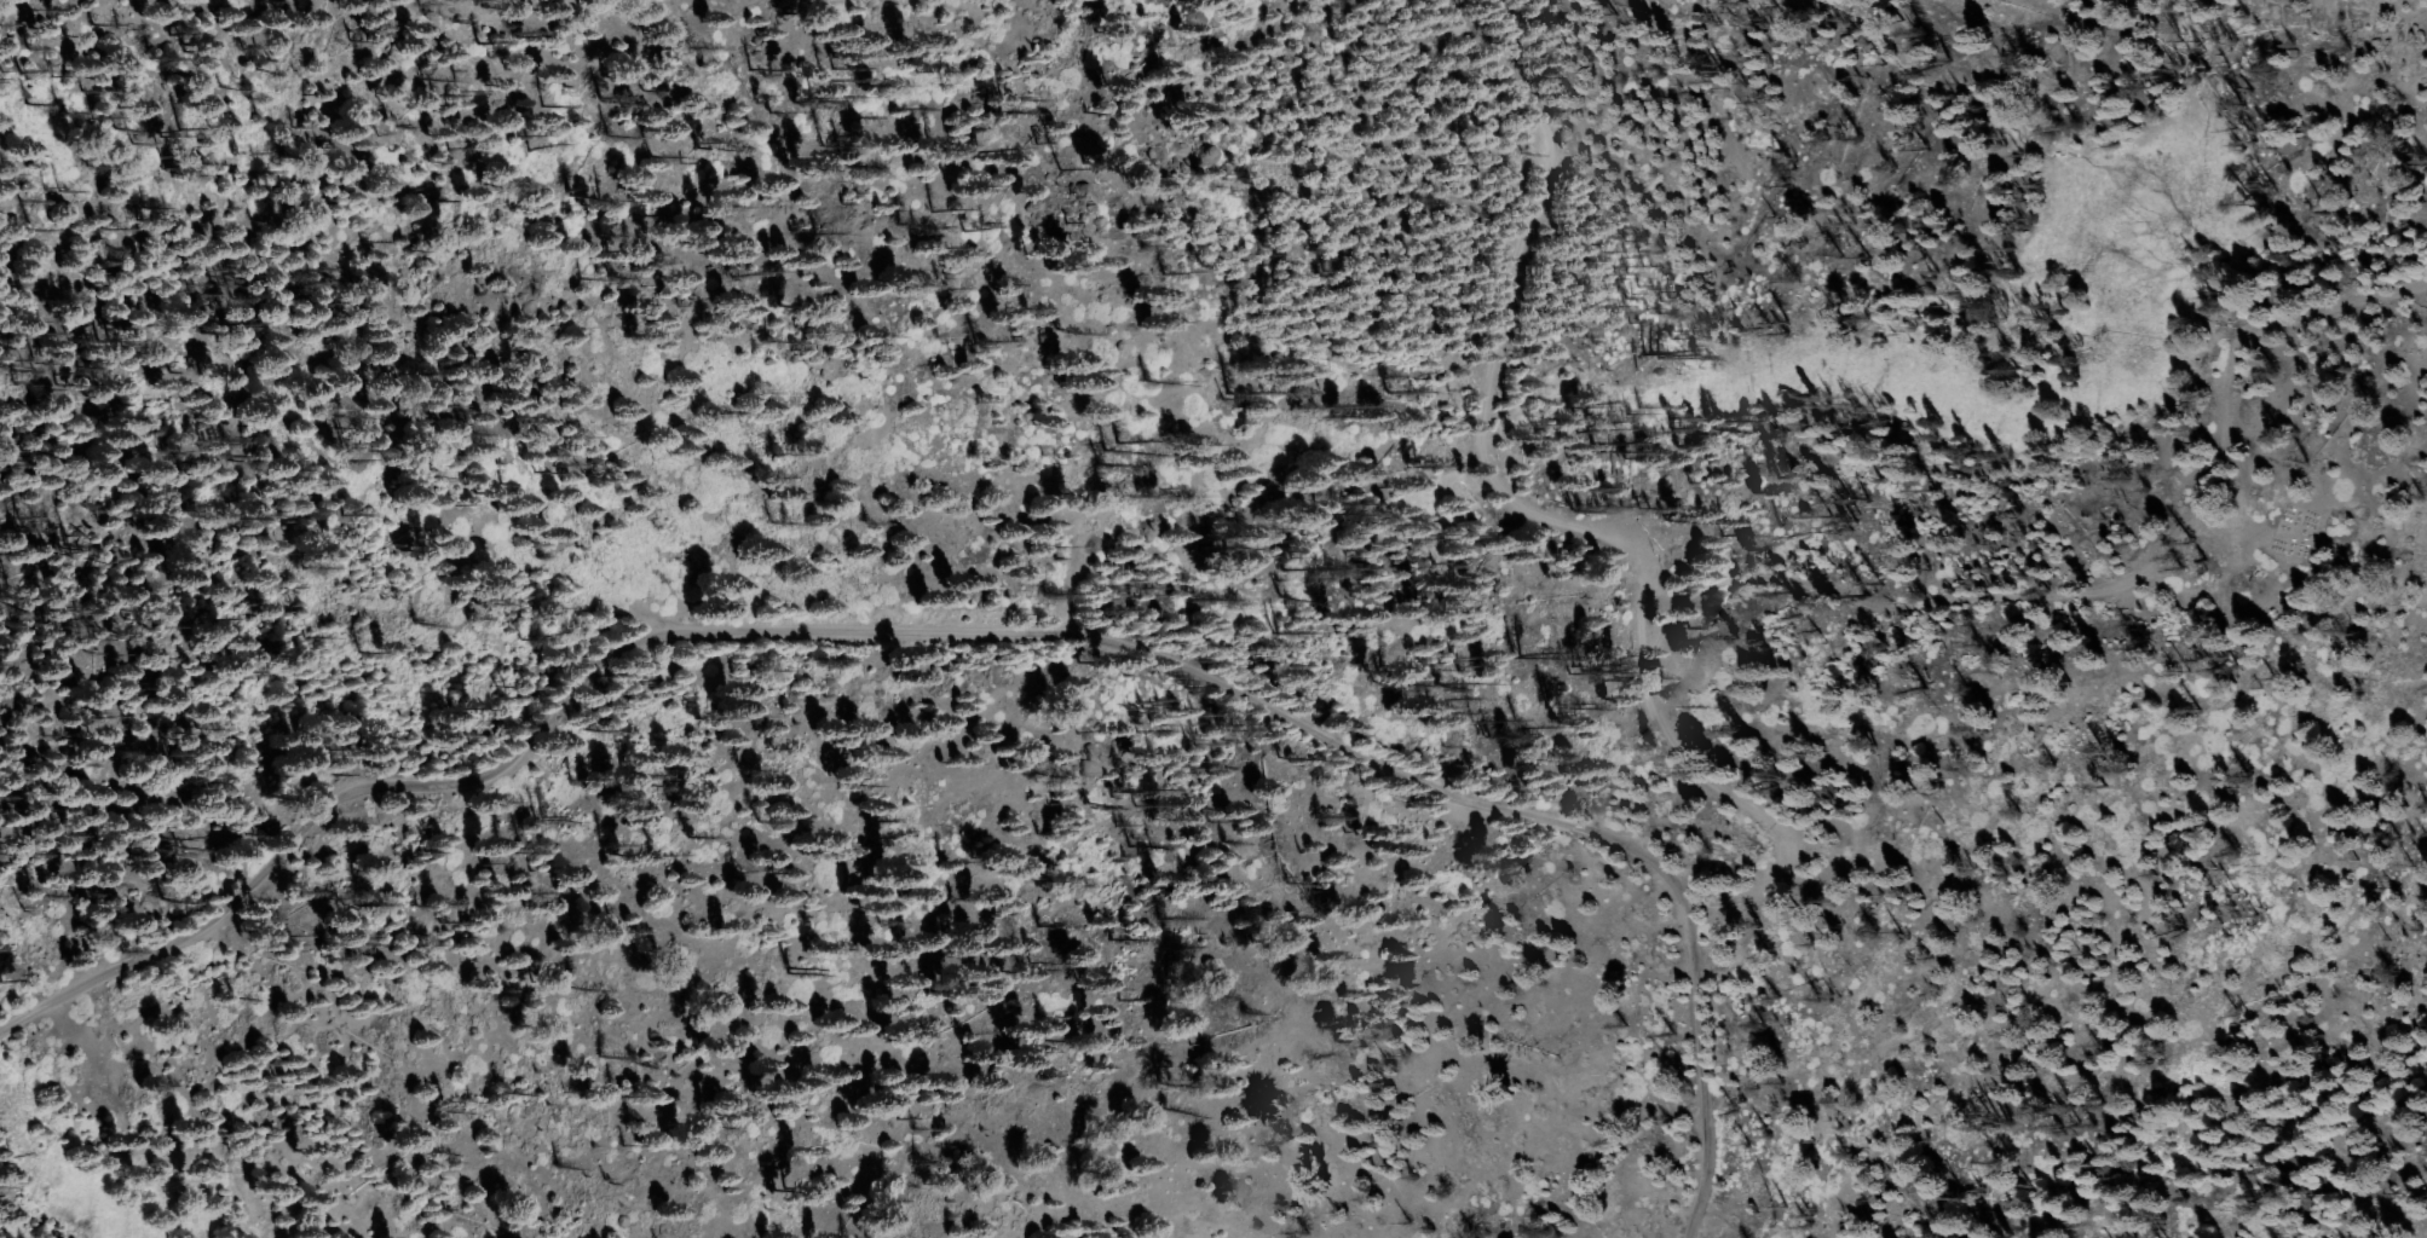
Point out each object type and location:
road: (1551, 521)
road: (2127, 608)
road: (981, 631)
road: (1706, 902)

